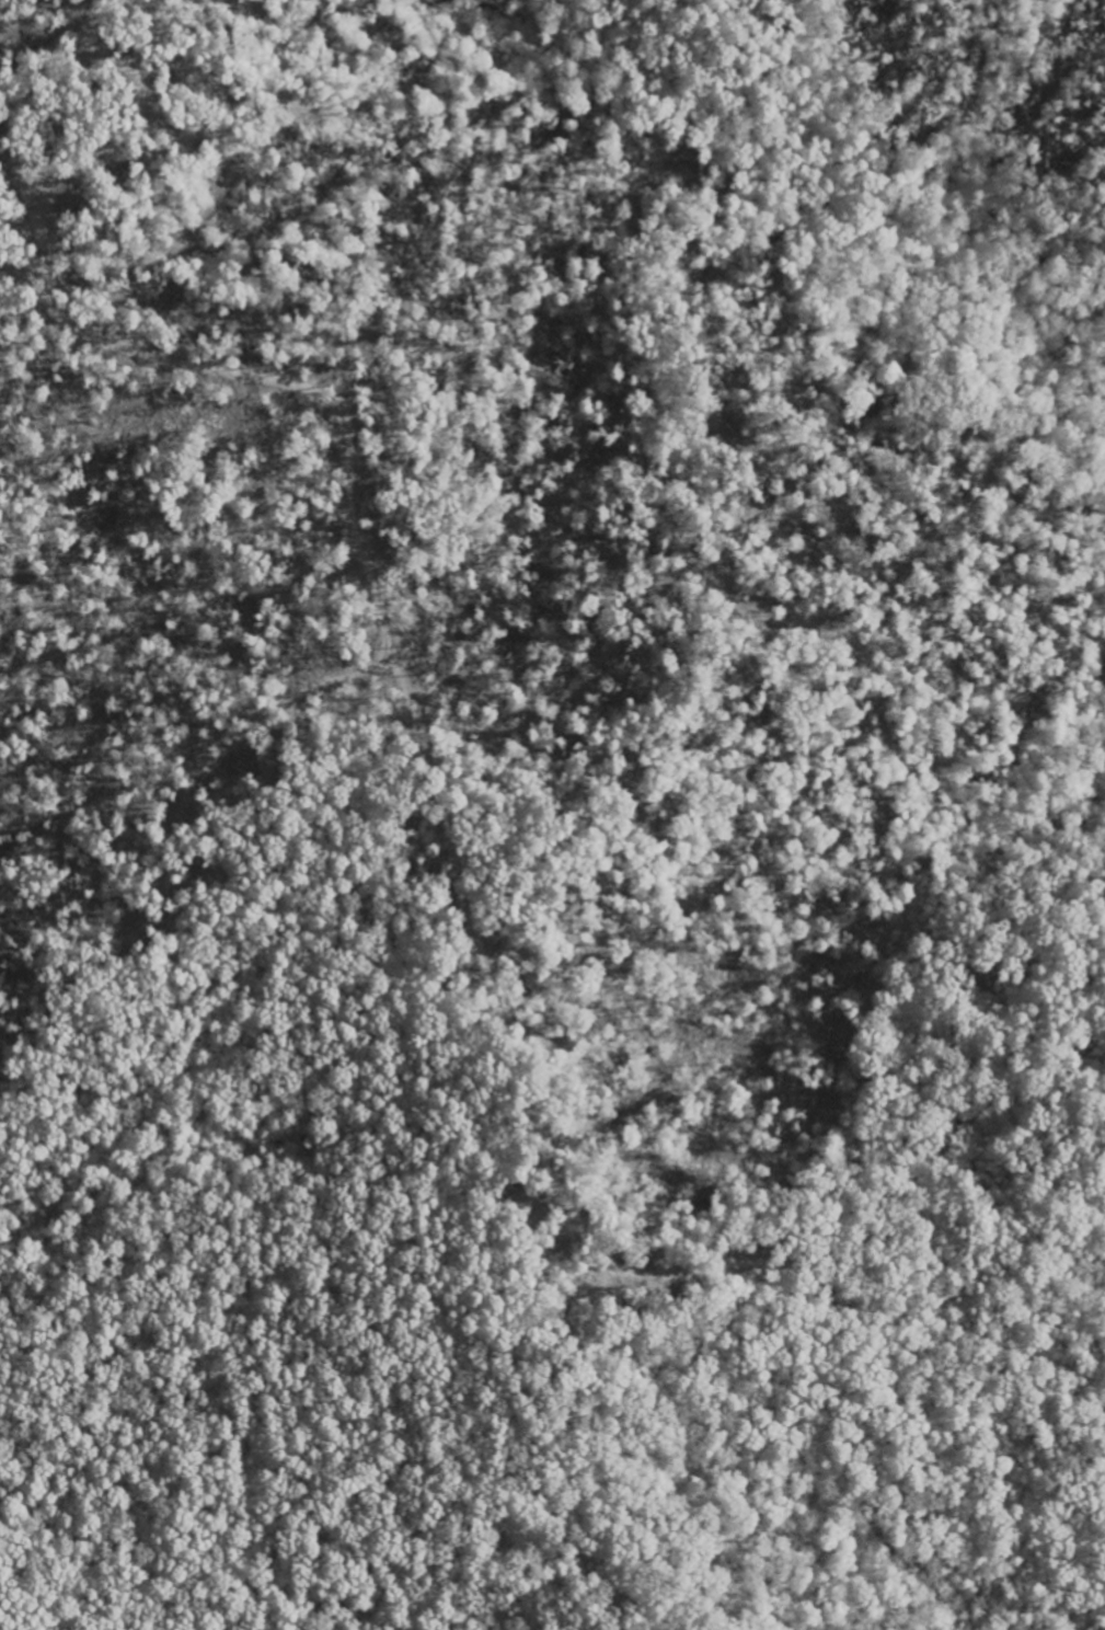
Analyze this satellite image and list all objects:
road: (463, 860)

